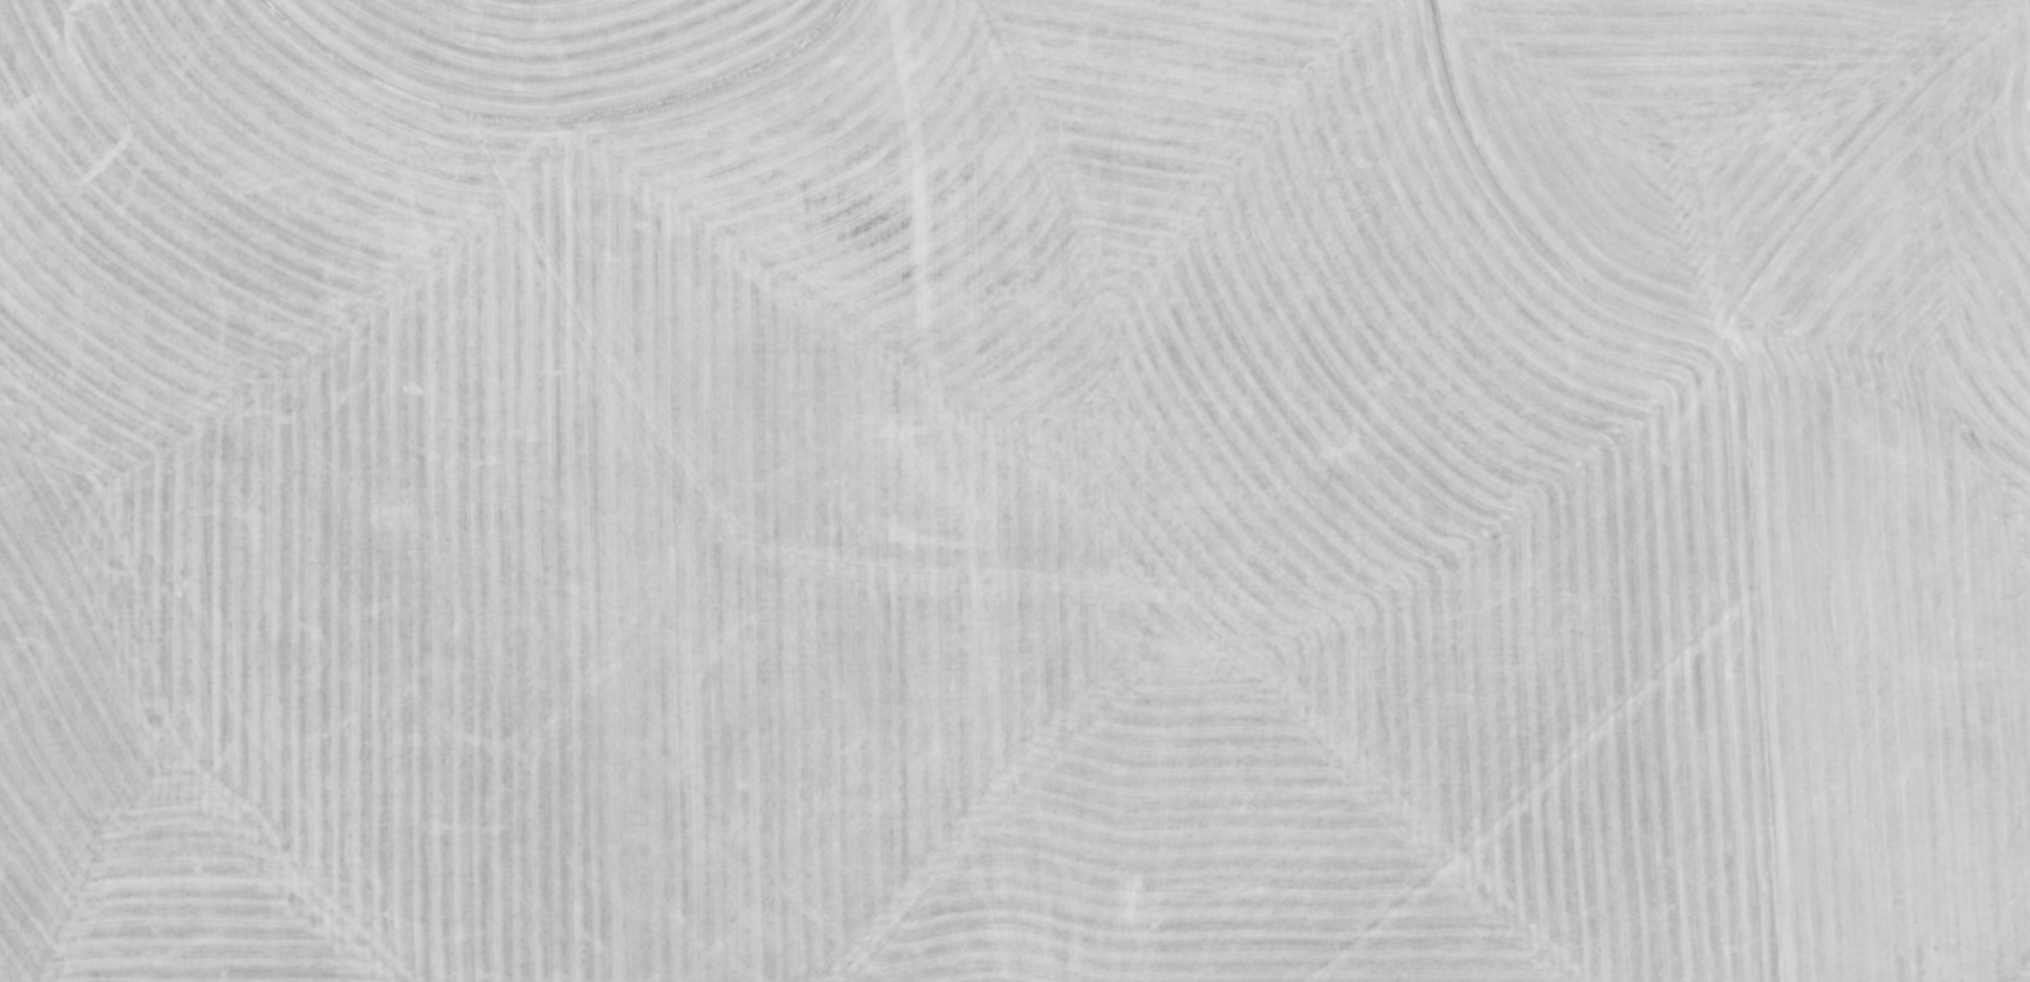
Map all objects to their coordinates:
crop: (1015, 491)

